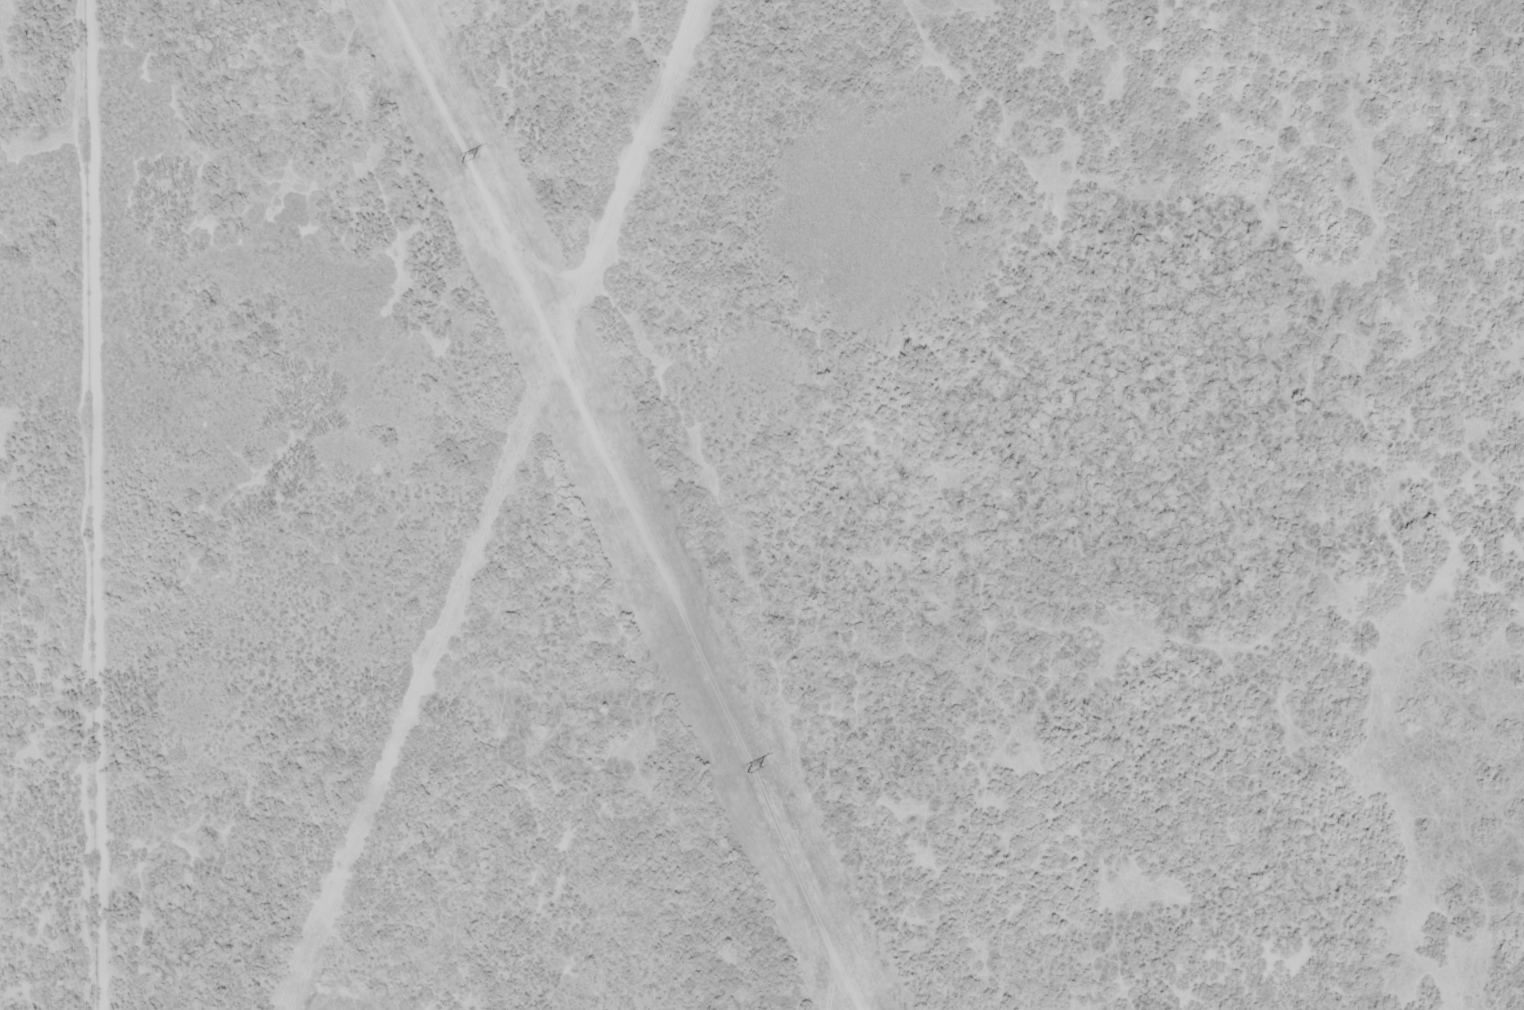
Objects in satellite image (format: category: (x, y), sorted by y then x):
power tower: (467, 160)
road: (679, 433)
road: (1388, 505)
power tower: (754, 772)

